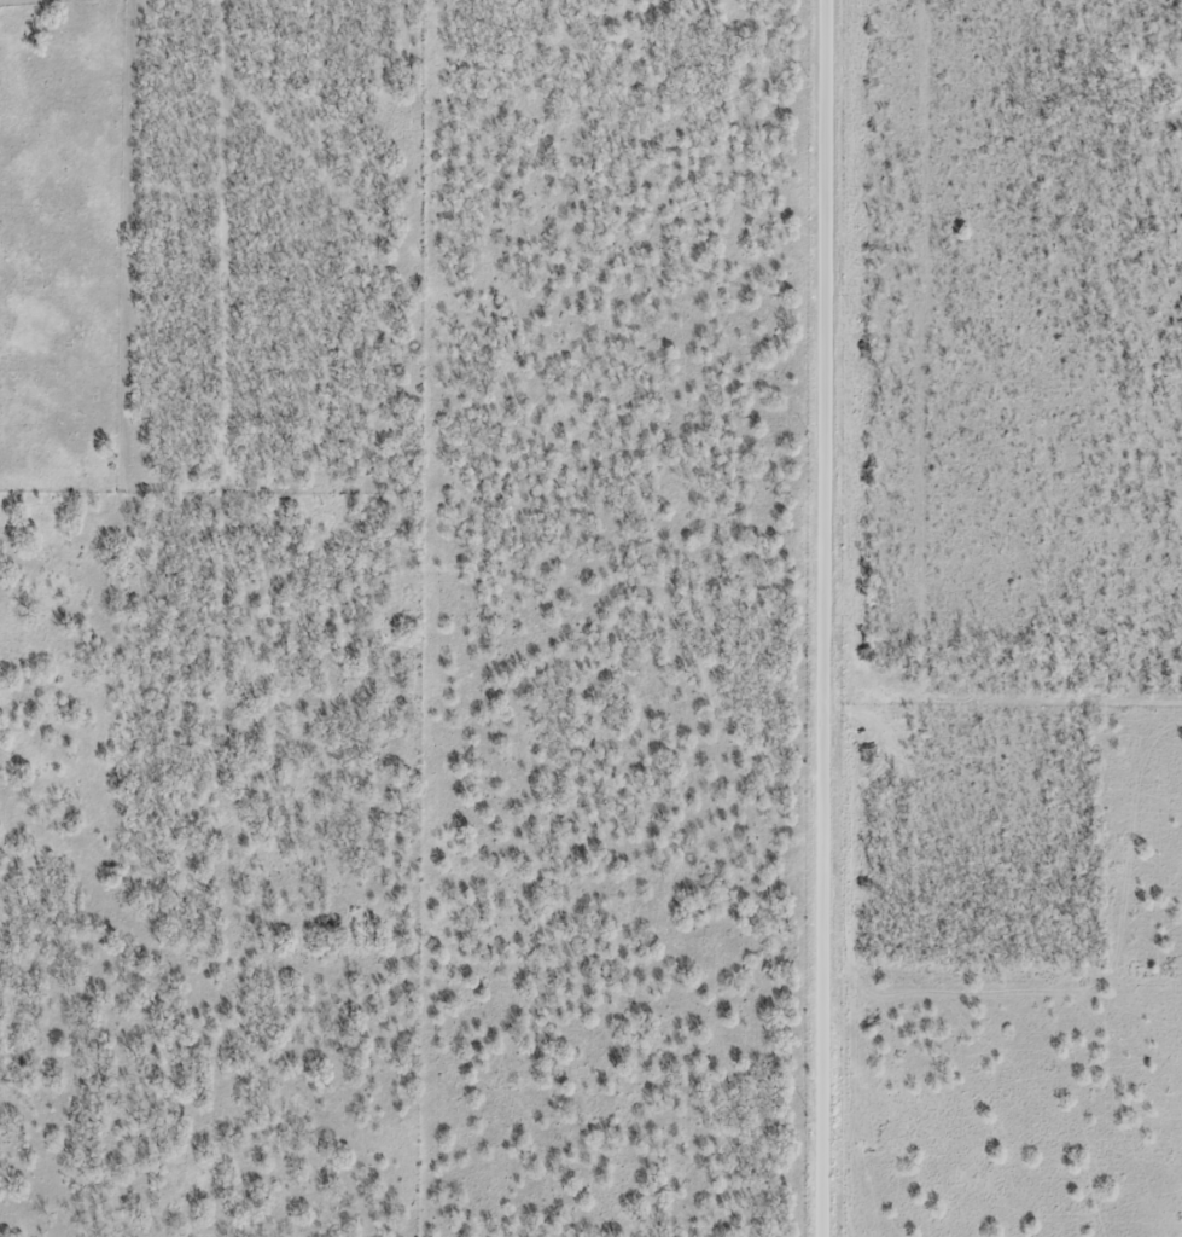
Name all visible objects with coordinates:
road: (826, 618)

